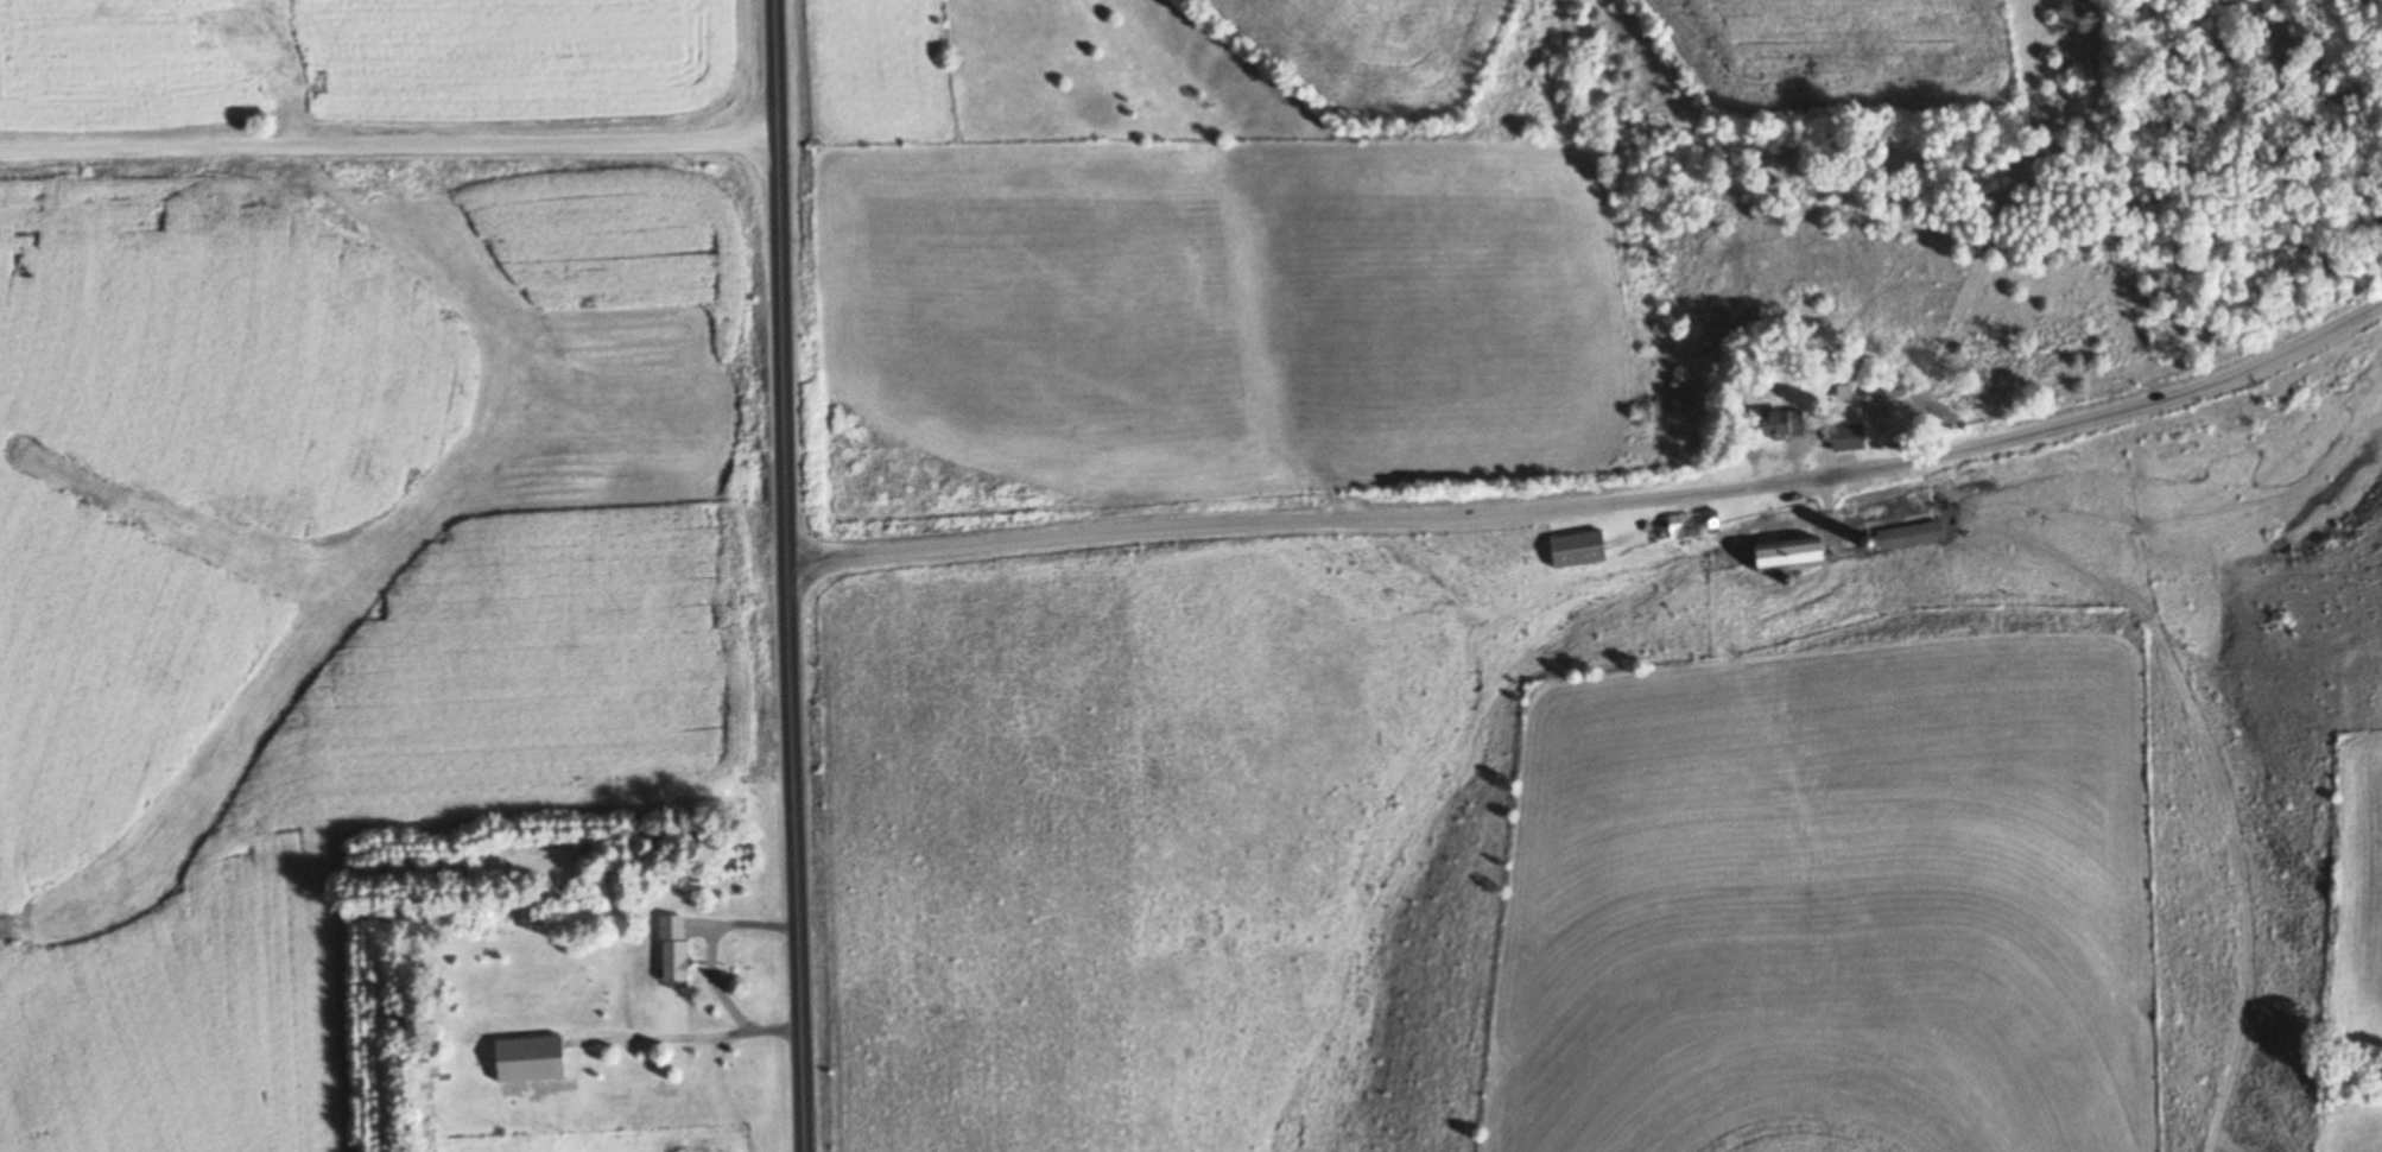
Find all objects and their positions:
crop: (1369, 51)
crop: (1893, 58)
crop: (1028, 72)
road: (387, 146)
crop: (1216, 316)
building: (1774, 425)
building: (1842, 438)
road: (1598, 505)
building: (1909, 536)
building: (1571, 551)
building: (1782, 557)
road: (785, 576)
crop: (1835, 897)
building: (677, 950)
crop: (2351, 954)
road: (711, 966)
building: (537, 1062)

